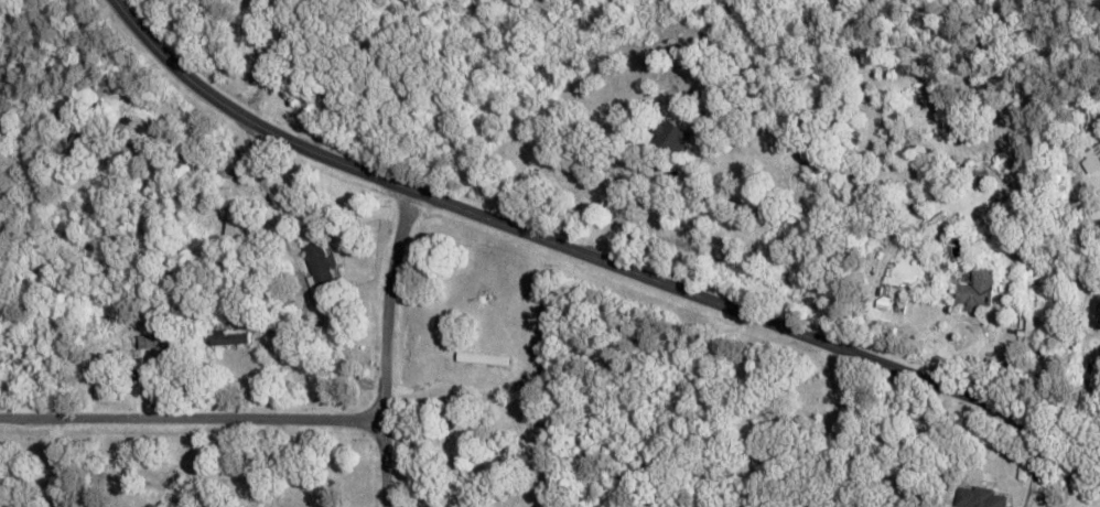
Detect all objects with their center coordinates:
building: (670, 138)
road: (587, 257)
building: (319, 265)
building: (973, 290)
building: (1031, 328)
building: (226, 337)
road: (384, 346)
building: (482, 357)
road: (190, 414)
building: (978, 497)
building: (839, 506)

